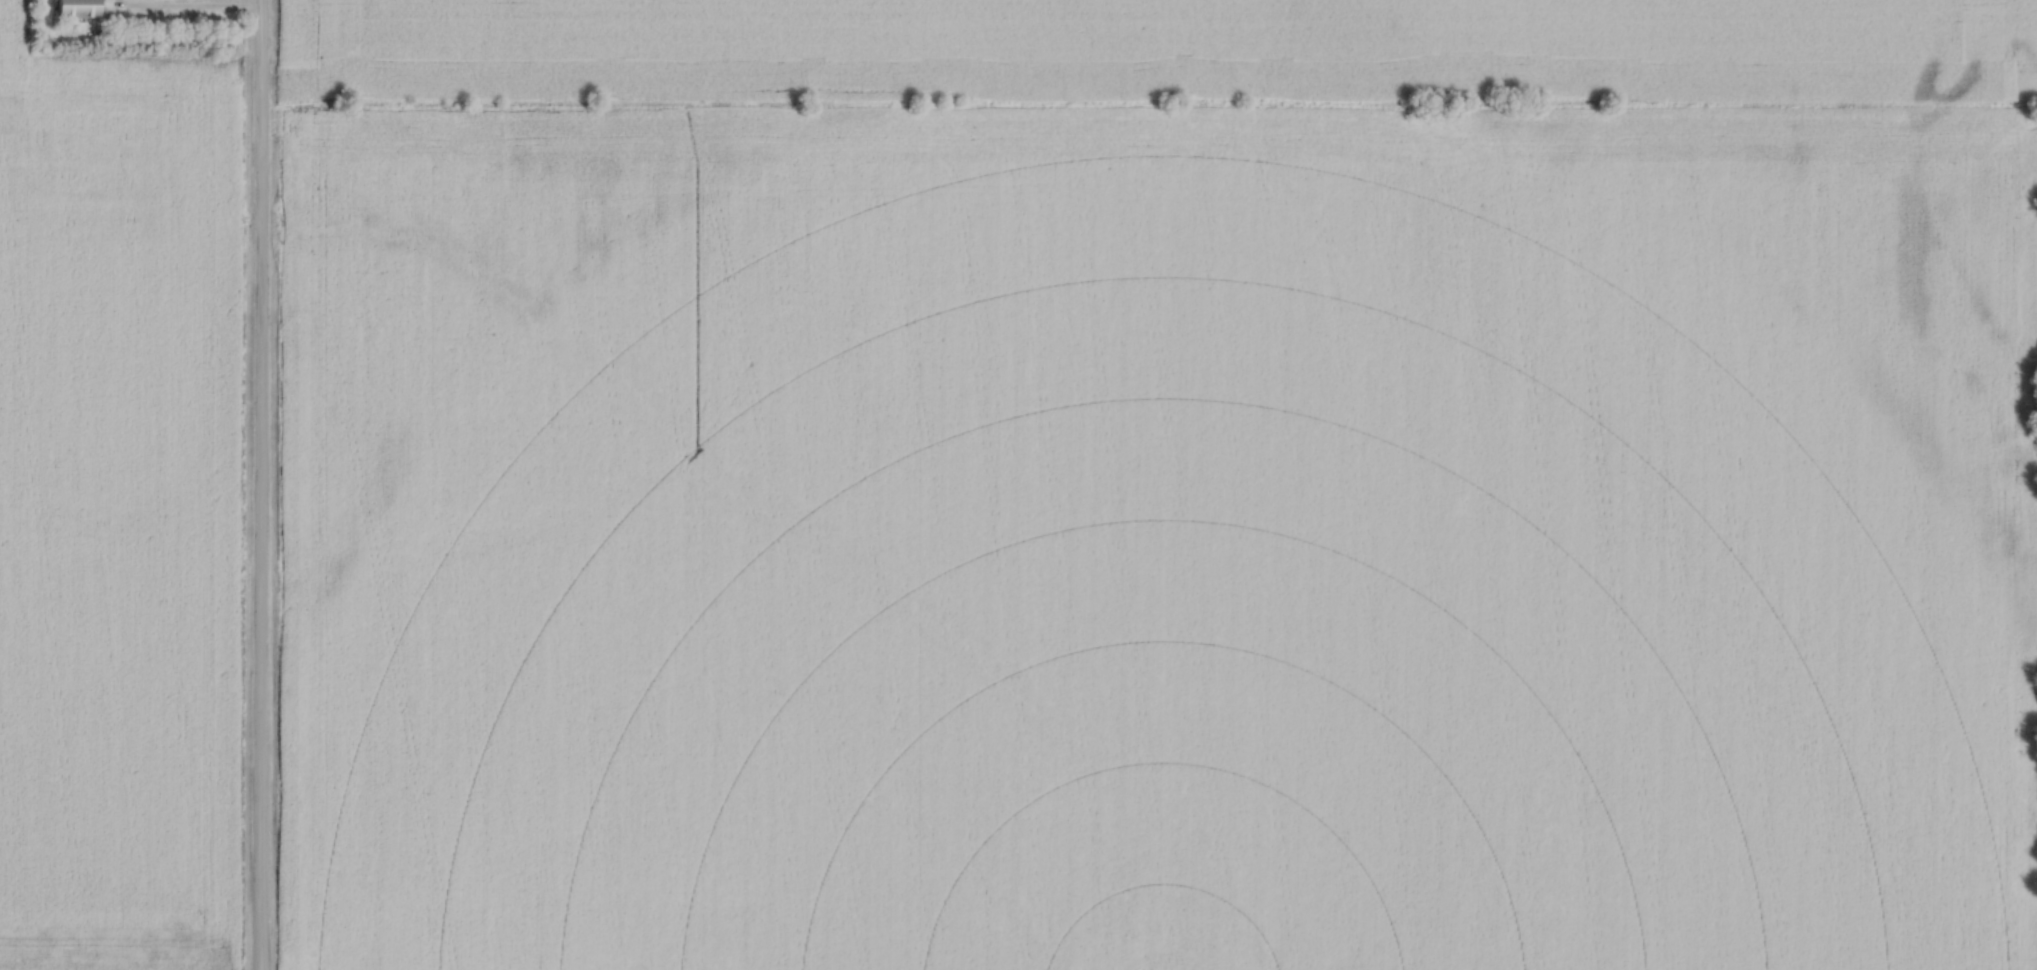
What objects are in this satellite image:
building: (85, 8)
road: (260, 485)

